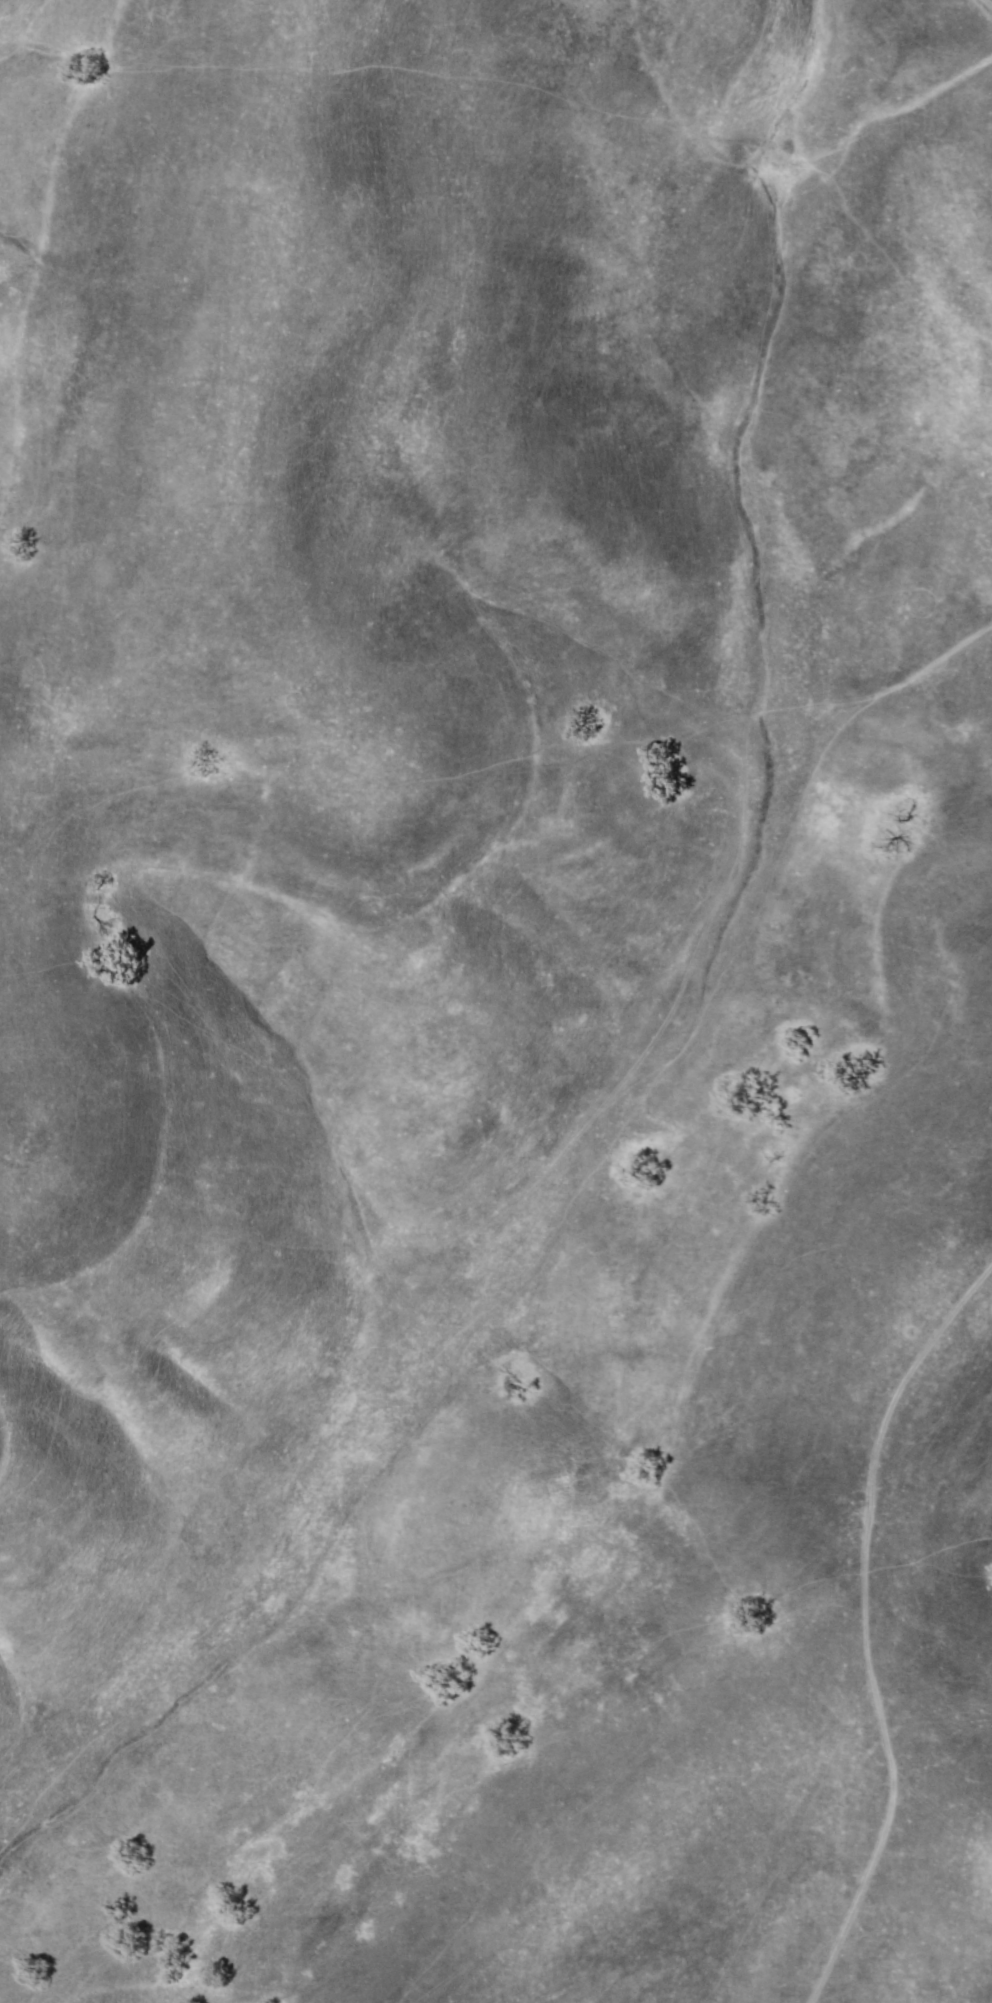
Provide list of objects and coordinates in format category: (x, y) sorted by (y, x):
road: (985, 7)

